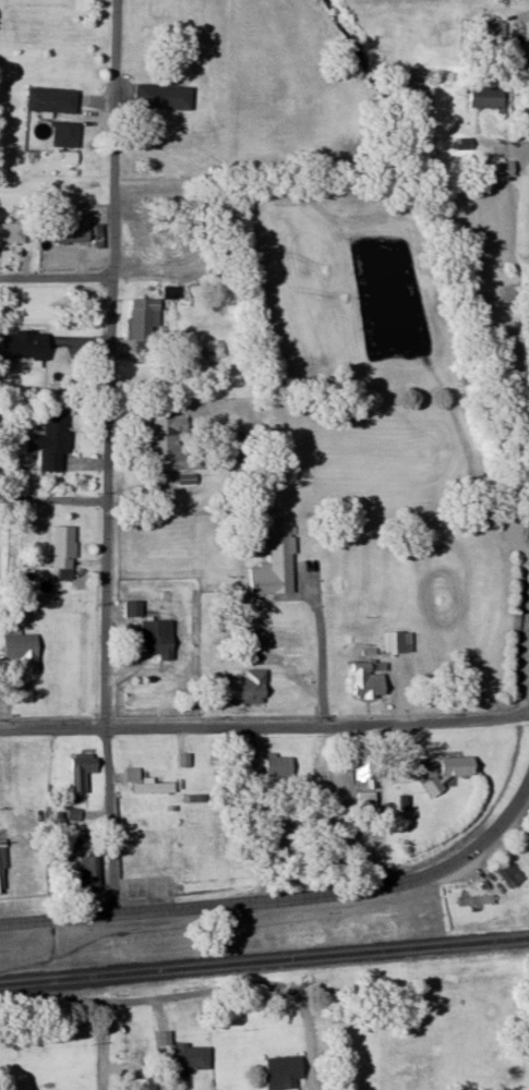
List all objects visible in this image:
building: (165, 96)
building: (490, 98)
building: (53, 99)
building: (68, 134)
building: (508, 168)
building: (74, 230)
building: (13, 233)
building: (148, 240)
road: (57, 278)
building: (145, 322)
building: (26, 344)
building: (56, 439)
building: (175, 445)
road: (109, 457)
building: (254, 475)
road: (55, 498)
building: (65, 547)
building: (277, 562)
building: (134, 608)
building: (159, 638)
building: (400, 642)
building: (25, 651)
road: (322, 655)
building: (371, 679)
building: (251, 688)
road: (265, 727)
building: (368, 768)
building: (84, 771)
building: (454, 772)
building: (155, 787)
road: (522, 790)
building: (276, 844)
building: (153, 845)
building: (92, 872)
building: (512, 873)
building: (0, 883)
road: (51, 894)
road: (273, 898)
building: (477, 900)
railway: (264, 960)
road: (130, 1000)
road: (103, 1046)
building: (192, 1058)
building: (286, 1073)
building: (146, 1085)
building: (43, 1087)

